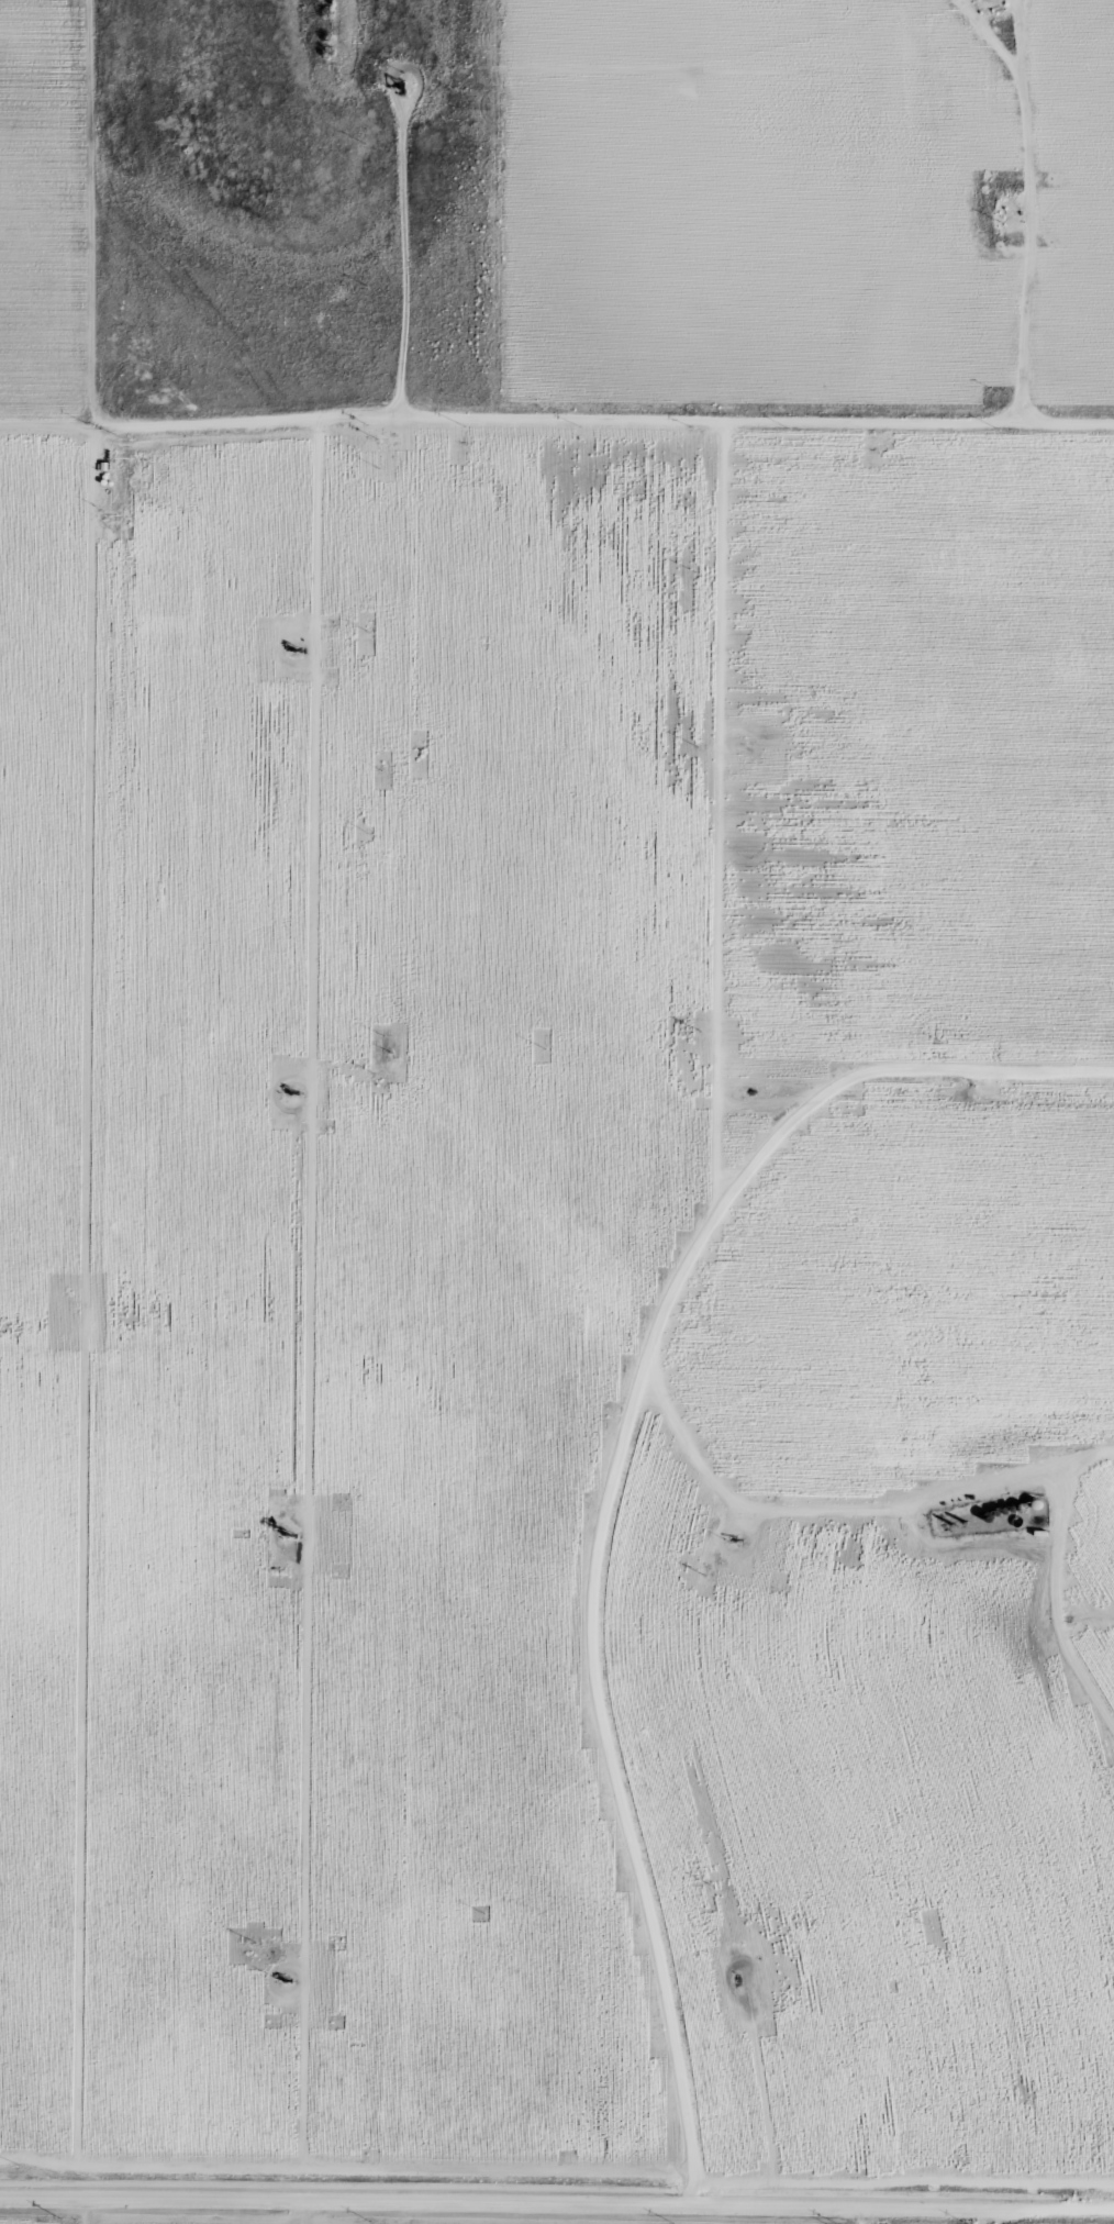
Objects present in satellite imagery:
road: (557, 423)
road: (557, 2209)

